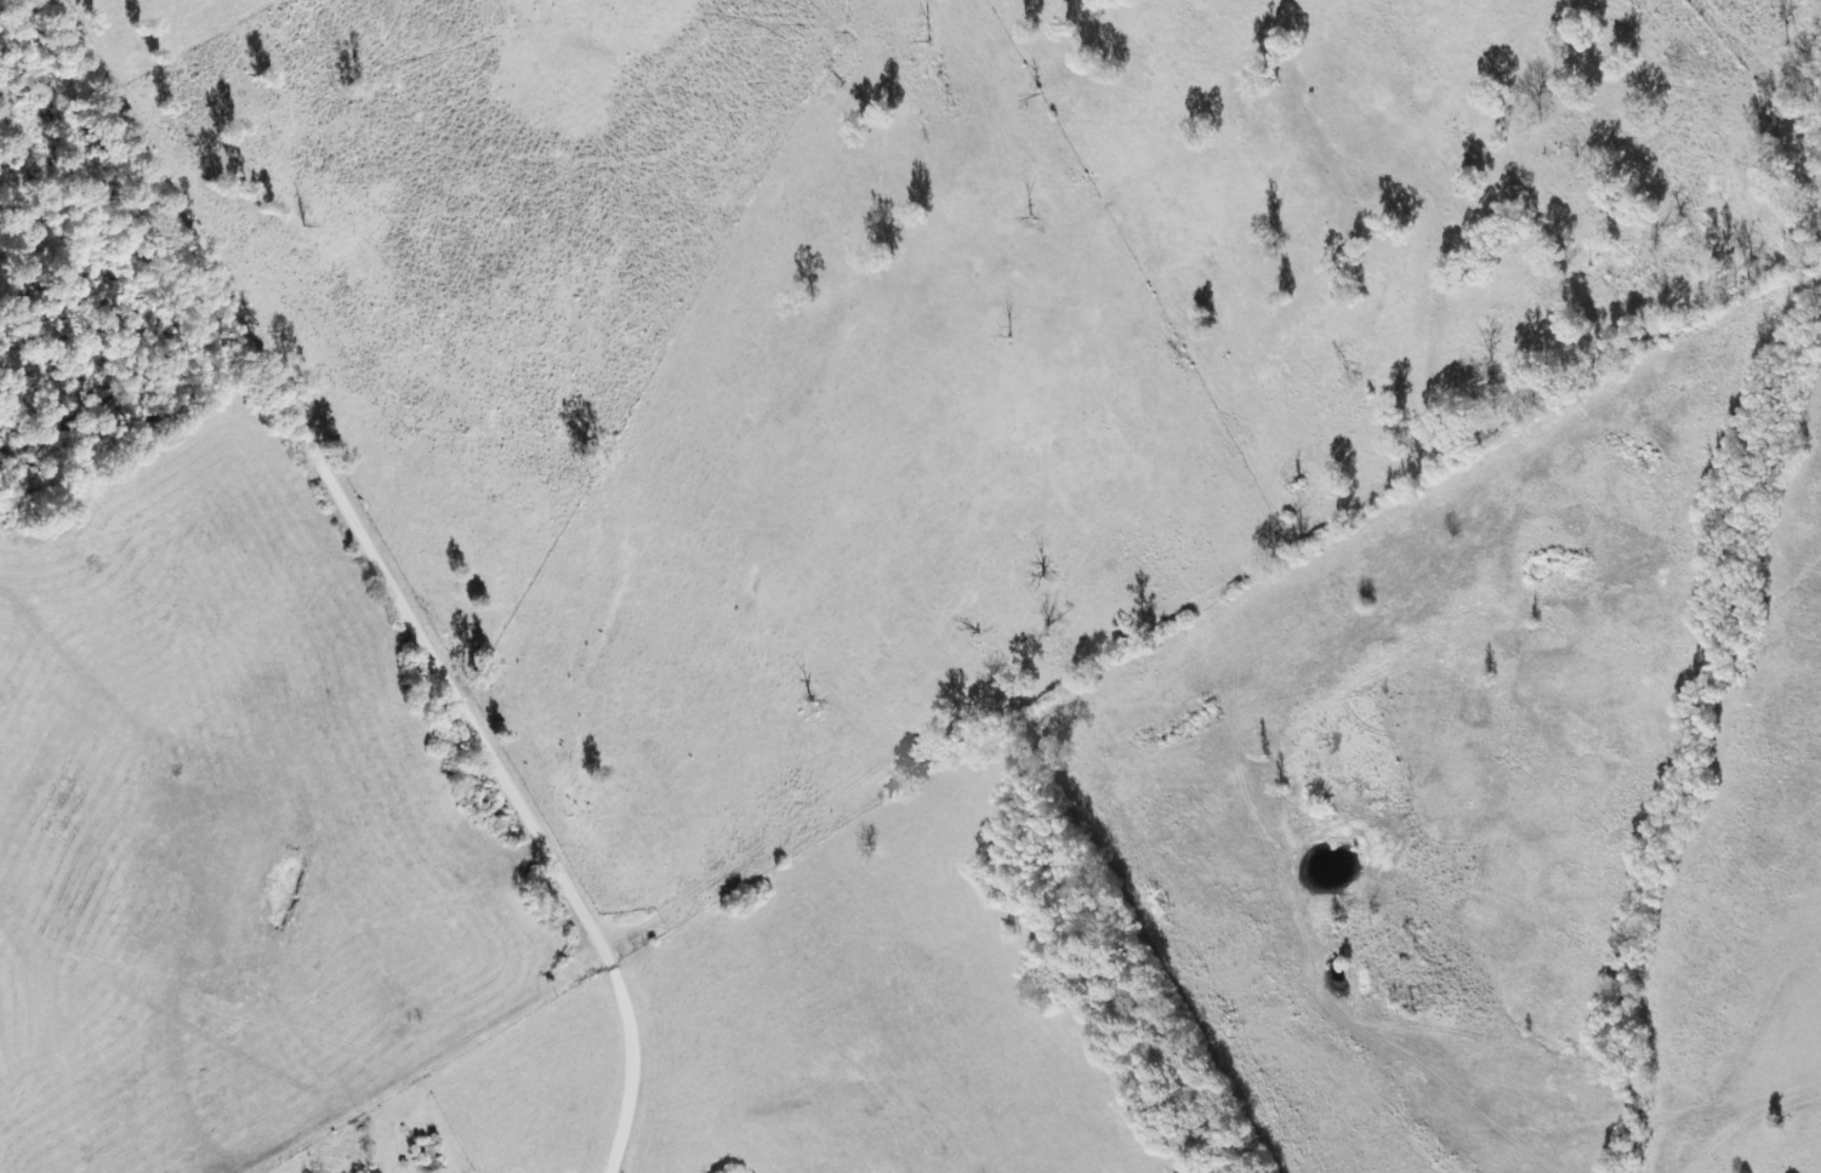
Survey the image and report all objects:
road: (376, 579)
road: (244, 872)

